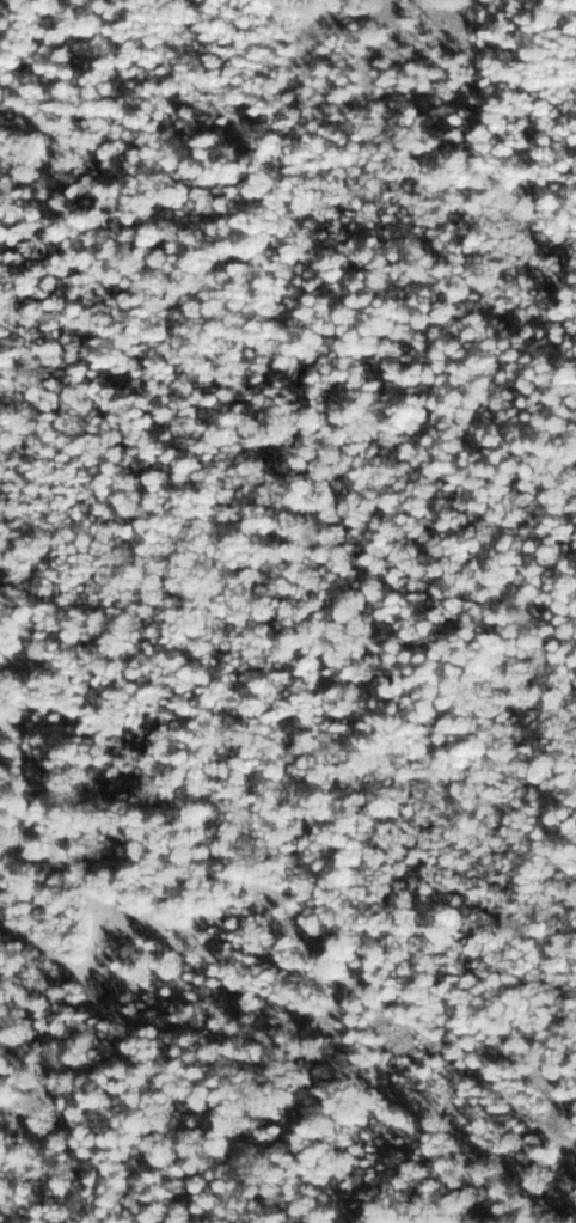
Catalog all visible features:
road: (288, 1089)

